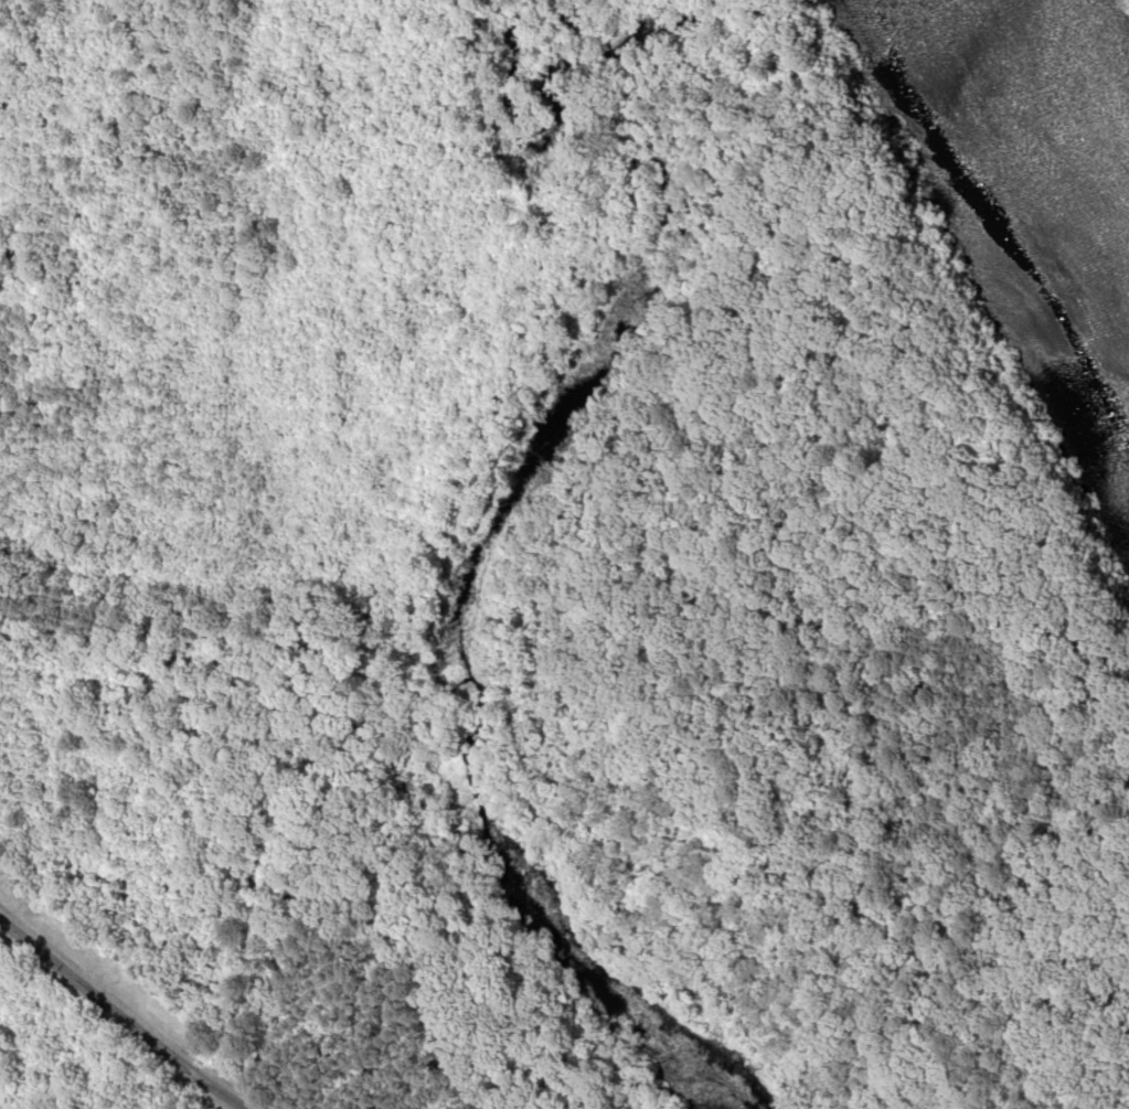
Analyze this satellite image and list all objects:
road: (119, 1017)

